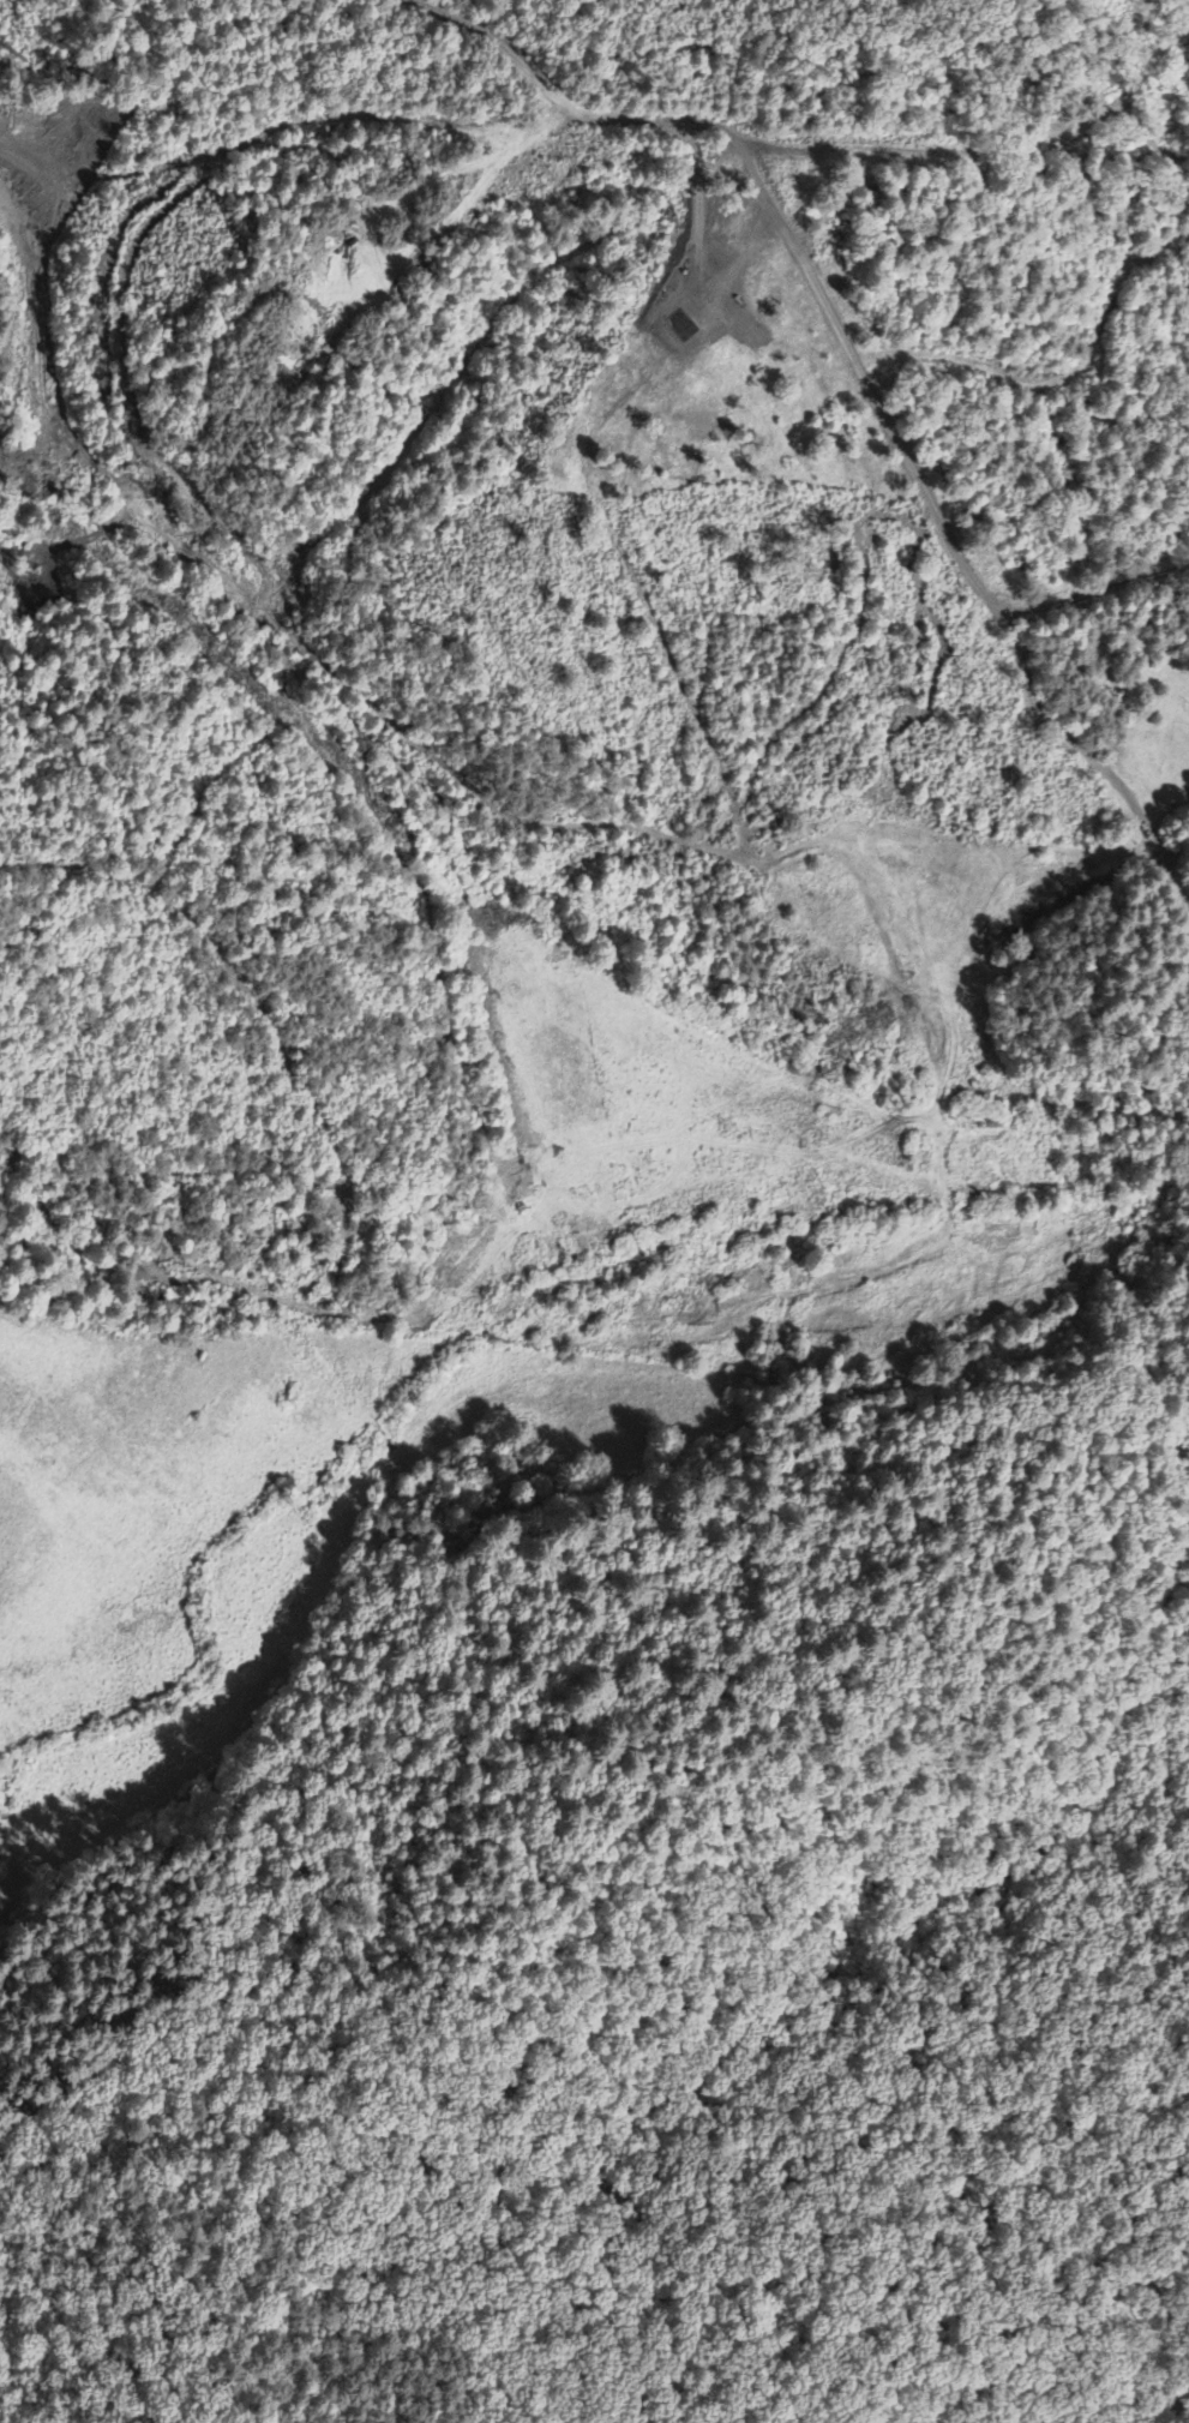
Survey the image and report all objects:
road: (67, 418)
road: (656, 887)
road: (467, 971)

